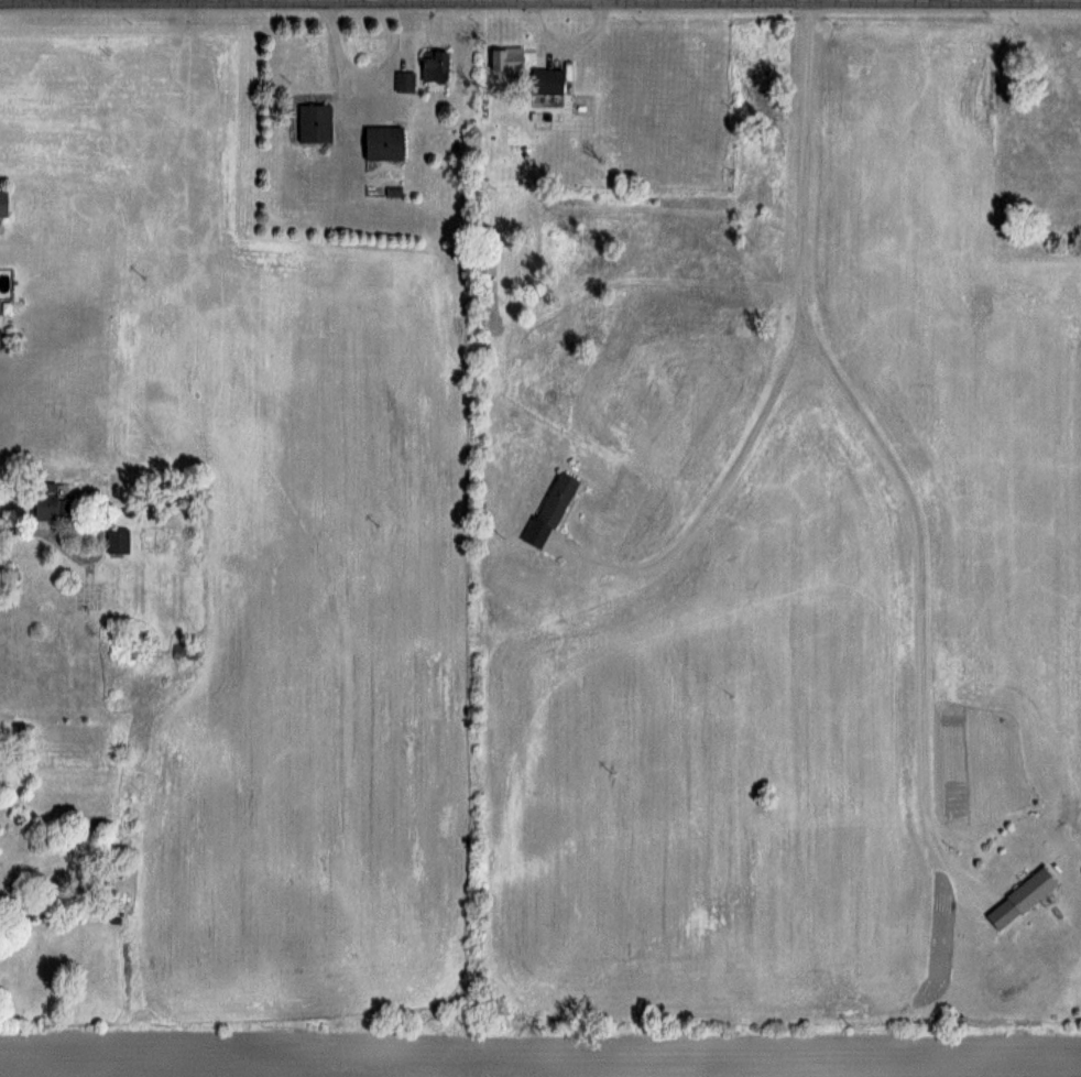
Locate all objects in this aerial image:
road: (540, 1)
building: (504, 58)
building: (433, 65)
building: (403, 80)
building: (546, 80)
building: (314, 122)
building: (382, 143)
building: (2, 202)
road: (876, 442)
road: (727, 475)
building: (46, 500)
building: (550, 514)
road: (21, 527)
building: (154, 537)
building: (116, 541)
building: (184, 651)
building: (1029, 889)

